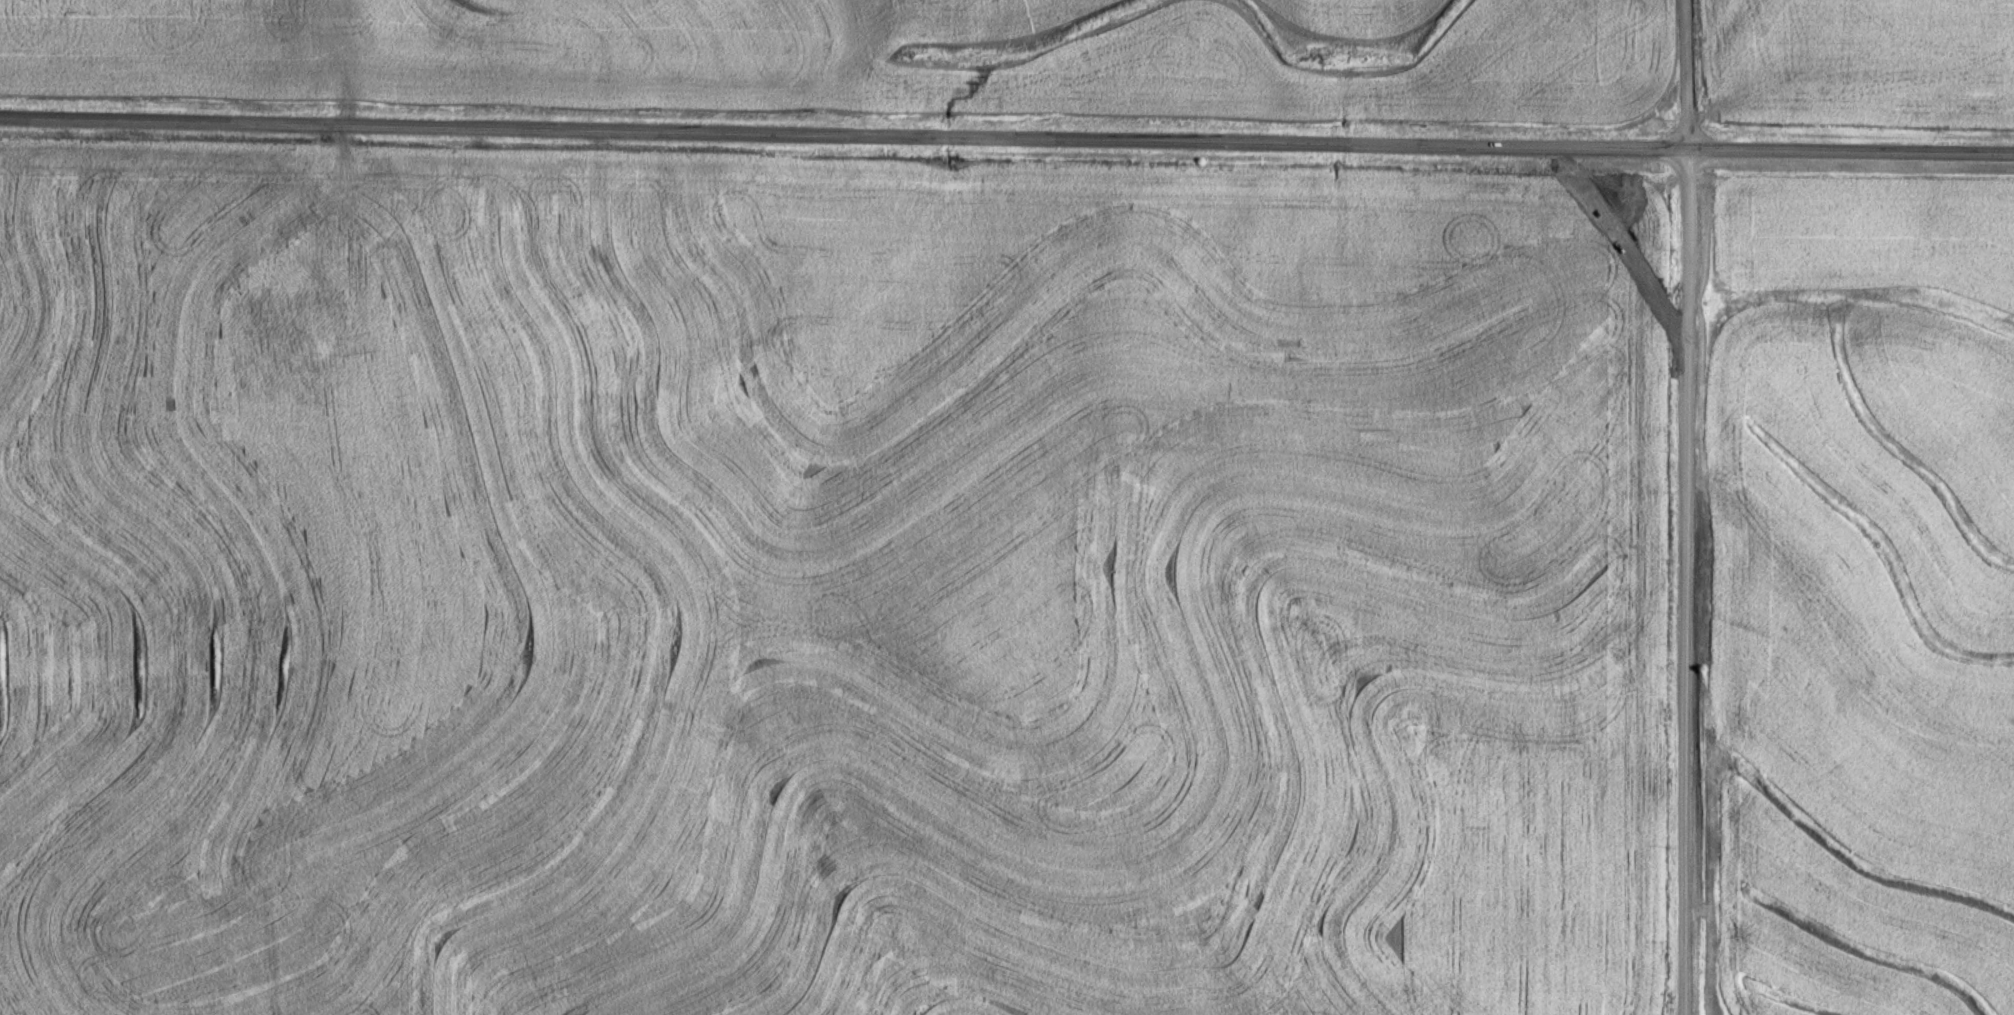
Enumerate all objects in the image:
road: (1688, 72)
road: (1007, 132)
road: (1686, 580)

